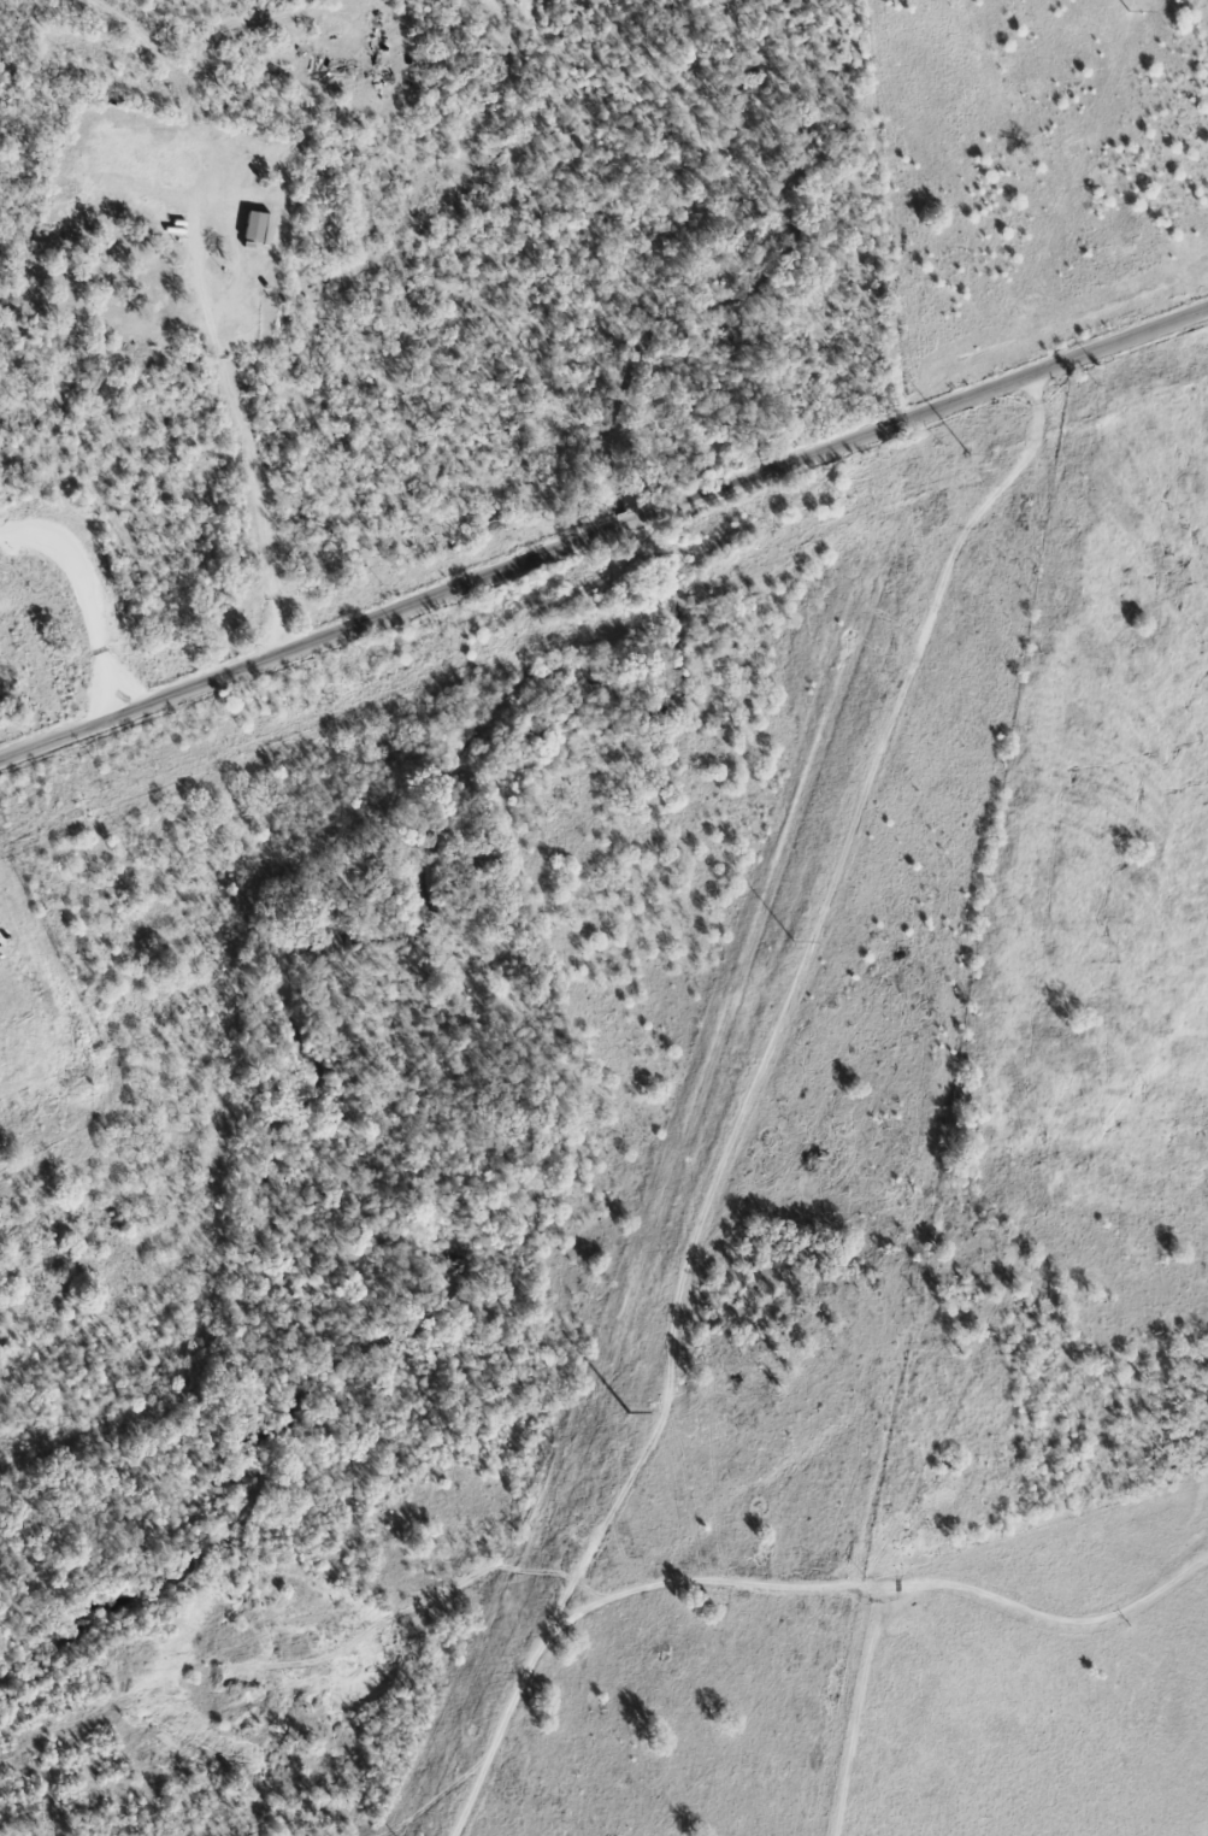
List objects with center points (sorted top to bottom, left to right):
building: (253, 228)
building: (158, 304)
road: (926, 412)
road: (246, 437)
road: (620, 525)
road: (86, 599)
road: (297, 646)
road: (746, 1104)
road: (870, 1587)
road: (860, 1693)

